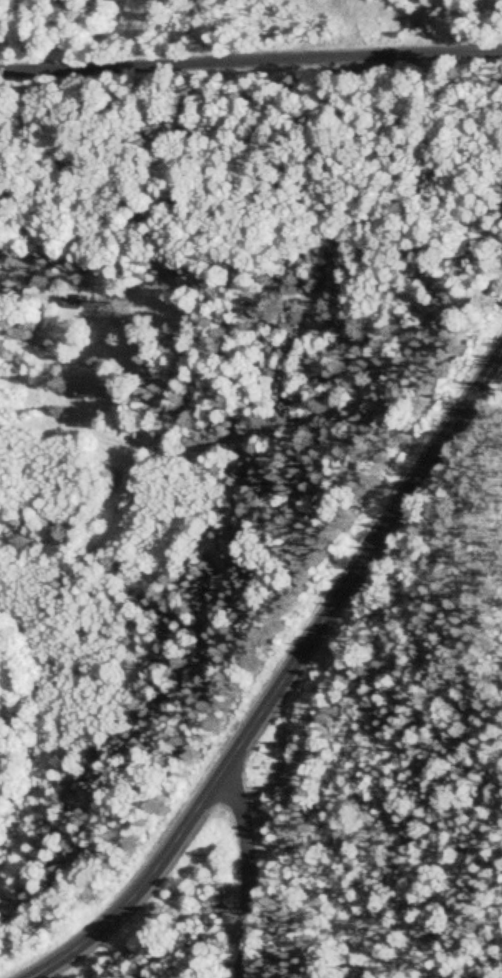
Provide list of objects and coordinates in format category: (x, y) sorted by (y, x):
road: (251, 62)
road: (285, 677)
road: (255, 876)

